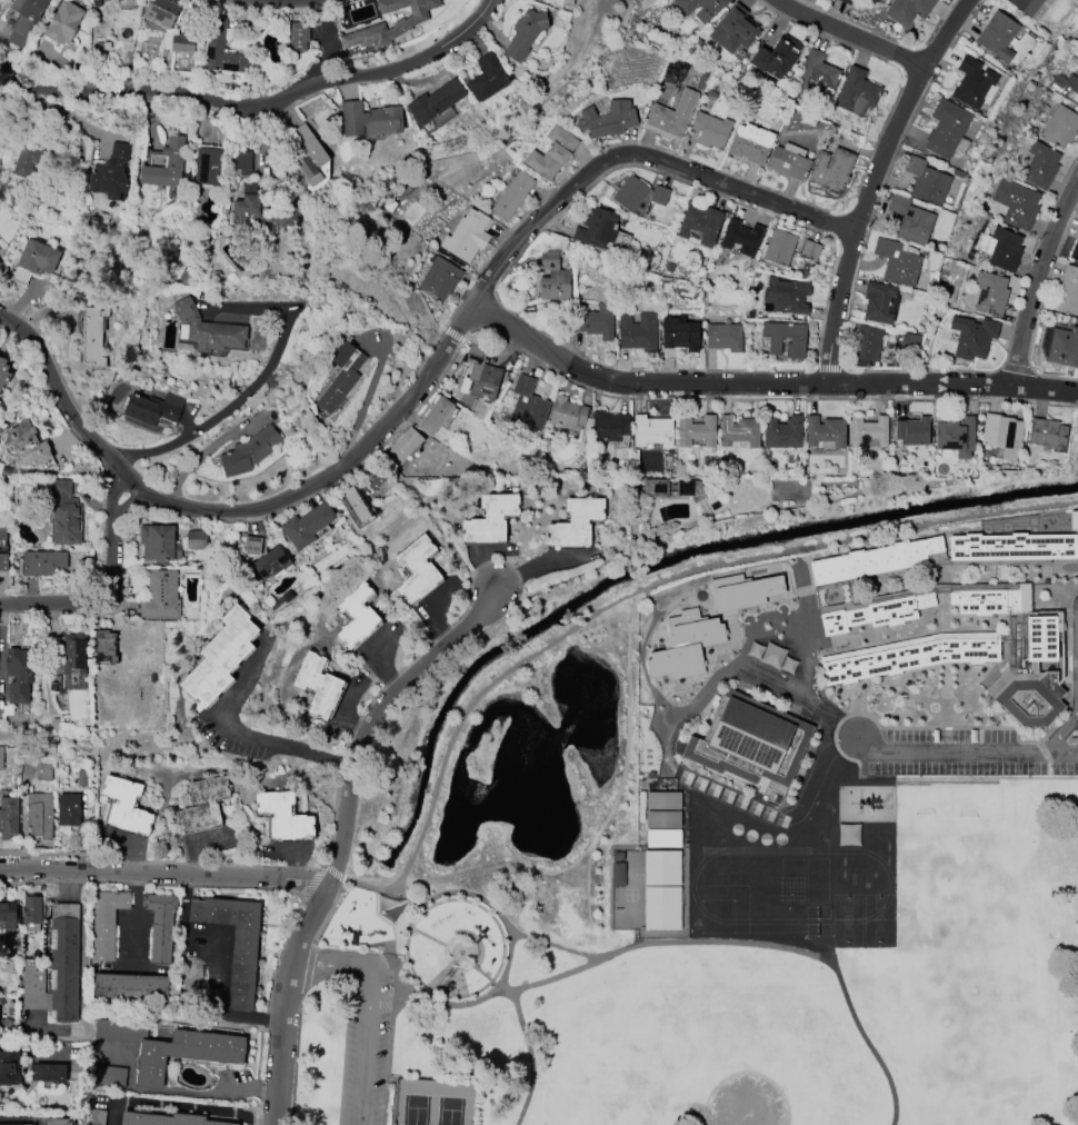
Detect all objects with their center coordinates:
building: (103, 0)
building: (541, 0)
building: (874, 0)
building: (118, 1)
building: (846, 1)
road: (295, 2)
building: (1032, 7)
building: (700, 8)
building: (907, 10)
building: (162, 12)
building: (26, 13)
road: (837, 17)
building: (399, 18)
building: (63, 22)
building: (733, 29)
building: (526, 33)
building: (298, 34)
building: (997, 34)
road: (846, 36)
building: (187, 43)
road: (925, 43)
building: (222, 49)
building: (777, 56)
building: (815, 77)
building: (486, 78)
building: (971, 82)
building: (1066, 87)
building: (856, 91)
building: (433, 101)
road: (258, 108)
building: (670, 116)
building: (369, 119)
building: (608, 119)
building: (1060, 127)
building: (947, 129)
building: (710, 130)
building: (750, 143)
building: (551, 152)
building: (307, 157)
building: (789, 161)
building: (26, 162)
building: (162, 163)
building: (242, 163)
building: (1040, 166)
building: (207, 167)
building: (831, 170)
building: (109, 173)
building: (926, 180)
road: (757, 185)
building: (630, 193)
building: (511, 196)
building: (659, 196)
building: (1016, 202)
building: (259, 211)
building: (101, 217)
road: (555, 217)
building: (910, 220)
building: (699, 225)
building: (597, 227)
building: (468, 235)
building: (741, 237)
building: (779, 247)
building: (1001, 248)
building: (809, 250)
building: (1075, 251)
building: (0, 261)
building: (34, 261)
building: (898, 261)
building: (553, 277)
building: (440, 278)
road: (1037, 281)
building: (1068, 291)
building: (990, 292)
building: (786, 296)
building: (878, 302)
road: (1039, 308)
building: (596, 321)
building: (207, 329)
building: (637, 331)
road: (452, 333)
building: (679, 333)
building: (91, 335)
building: (723, 337)
building: (972, 337)
building: (797, 341)
building: (867, 342)
building: (1062, 347)
road: (50, 355)
road: (828, 357)
road: (839, 361)
road: (829, 368)
road: (1017, 369)
building: (3, 374)
building: (479, 374)
building: (340, 375)
road: (951, 385)
road: (422, 387)
road: (758, 399)
road: (422, 400)
road: (366, 405)
building: (528, 405)
building: (152, 408)
road: (227, 414)
building: (568, 414)
building: (435, 416)
road: (79, 421)
building: (609, 427)
building: (696, 430)
building: (825, 430)
building: (910, 430)
building: (782, 431)
building: (651, 432)
building: (739, 432)
building: (868, 432)
building: (1047, 434)
building: (1002, 435)
building: (956, 436)
building: (24, 446)
building: (403, 446)
road: (370, 448)
building: (249, 451)
road: (200, 458)
building: (373, 479)
building: (655, 488)
road: (112, 492)
road: (301, 500)
road: (126, 504)
building: (356, 504)
road: (218, 517)
building: (489, 519)
building: (67, 524)
building: (575, 524)
building: (307, 525)
building: (194, 539)
building: (158, 544)
building: (252, 545)
building: (1011, 547)
building: (2, 549)
road: (463, 559)
building: (877, 560)
building: (42, 562)
building: (270, 562)
building: (417, 569)
road: (659, 583)
building: (743, 590)
building: (160, 596)
building: (991, 600)
building: (281, 601)
road: (96, 603)
building: (879, 613)
building: (356, 615)
building: (683, 645)
building: (104, 646)
building: (755, 650)
building: (772, 656)
building: (909, 656)
building: (219, 658)
building: (74, 660)
building: (788, 665)
road: (400, 670)
building: (18, 675)
building: (1031, 679)
building: (318, 686)
road: (991, 727)
road: (240, 729)
road: (1061, 729)
building: (752, 745)
road: (1064, 748)
road: (951, 749)
building: (1, 758)
building: (42, 771)
building: (82, 778)
road: (621, 780)
building: (663, 800)
building: (126, 806)
building: (202, 806)
building: (68, 809)
park: (496, 810)
building: (8, 814)
building: (39, 816)
building: (285, 818)
building: (662, 819)
road: (339, 834)
building: (848, 835)
building: (662, 838)
road: (159, 862)
building: (661, 867)
road: (498, 868)
road: (332, 870)
building: (618, 874)
road: (163, 878)
road: (312, 880)
road: (368, 882)
road: (151, 885)
road: (422, 900)
building: (661, 908)
building: (31, 913)
road: (328, 913)
building: (8, 915)
road: (134, 922)
building: (106, 923)
building: (159, 925)
building: (232, 942)
road: (688, 944)
road: (450, 946)
road: (345, 952)
road: (507, 963)
building: (56, 969)
building: (128, 986)
road: (381, 992)
road: (498, 992)
park: (969, 995)
road: (368, 1006)
road: (267, 1009)
road: (219, 1010)
parking lot: (365, 1047)
building: (186, 1053)
road: (529, 1059)
building: (9, 1067)
building: (47, 1073)
road: (248, 1084)
park: (432, 1103)
road: (183, 1105)
park: (741, 1109)
building: (99, 1117)
building: (164, 1119)
road: (14, 1122)
building: (58, 1122)
building: (18, 1124)

